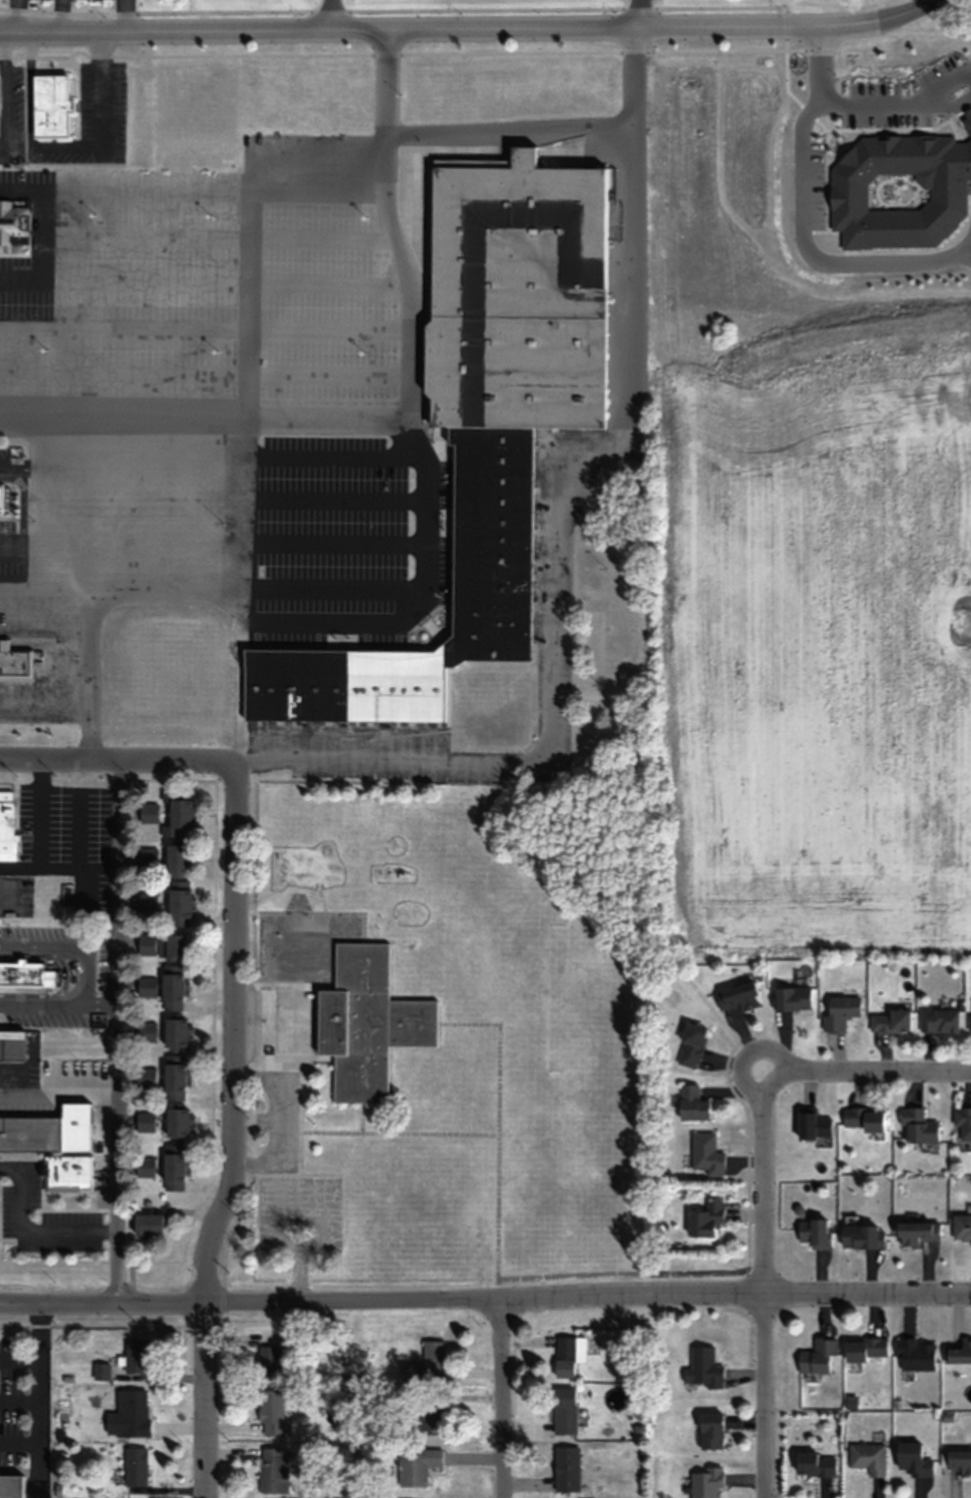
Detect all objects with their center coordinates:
road: (393, 8)
road: (638, 13)
road: (330, 14)
road: (869, 21)
road: (717, 26)
road: (318, 29)
road: (865, 102)
building: (50, 105)
road: (508, 130)
building: (309, 160)
building: (13, 222)
road: (813, 255)
road: (248, 256)
building: (517, 294)
road: (43, 416)
road: (272, 418)
building: (1, 496)
road: (552, 538)
building: (491, 542)
road: (345, 621)
building: (14, 663)
road: (120, 763)
building: (177, 814)
building: (6, 825)
road: (38, 856)
building: (177, 859)
road: (19, 867)
building: (179, 903)
road: (119, 905)
building: (174, 945)
road: (61, 948)
building: (22, 974)
building: (173, 988)
building: (737, 997)
building: (792, 998)
road: (35, 1000)
building: (840, 1012)
building: (364, 1019)
building: (938, 1020)
building: (891, 1021)
building: (969, 1023)
building: (175, 1035)
building: (11, 1045)
building: (691, 1045)
road: (866, 1070)
road: (299, 1075)
building: (174, 1078)
road: (106, 1097)
building: (692, 1103)
building: (863, 1119)
building: (963, 1121)
building: (177, 1122)
road: (497, 1122)
building: (815, 1124)
building: (918, 1126)
building: (31, 1133)
road: (232, 1141)
road: (745, 1146)
road: (298, 1152)
building: (707, 1153)
building: (174, 1170)
building: (69, 1171)
road: (272, 1173)
road: (115, 1198)
parking lot: (297, 1214)
building: (705, 1219)
building: (148, 1224)
building: (961, 1227)
building: (814, 1232)
building: (917, 1232)
road: (27, 1234)
building: (863, 1236)
road: (299, 1244)
road: (299, 1271)
road: (624, 1272)
road: (762, 1284)
road: (485, 1296)
building: (866, 1349)
building: (957, 1352)
building: (569, 1355)
building: (915, 1355)
building: (433, 1356)
building: (817, 1356)
building: (136, 1357)
road: (20, 1358)
building: (267, 1361)
building: (703, 1369)
building: (410, 1371)
road: (501, 1397)
road: (41, 1398)
road: (21, 1401)
building: (564, 1411)
building: (132, 1413)
building: (271, 1413)
building: (431, 1418)
building: (711, 1431)
road: (21, 1444)
building: (868, 1458)
building: (913, 1460)
building: (959, 1461)
building: (815, 1465)
building: (135, 1466)
building: (416, 1466)
building: (566, 1468)
building: (274, 1470)
building: (705, 1482)
building: (11, 1486)

